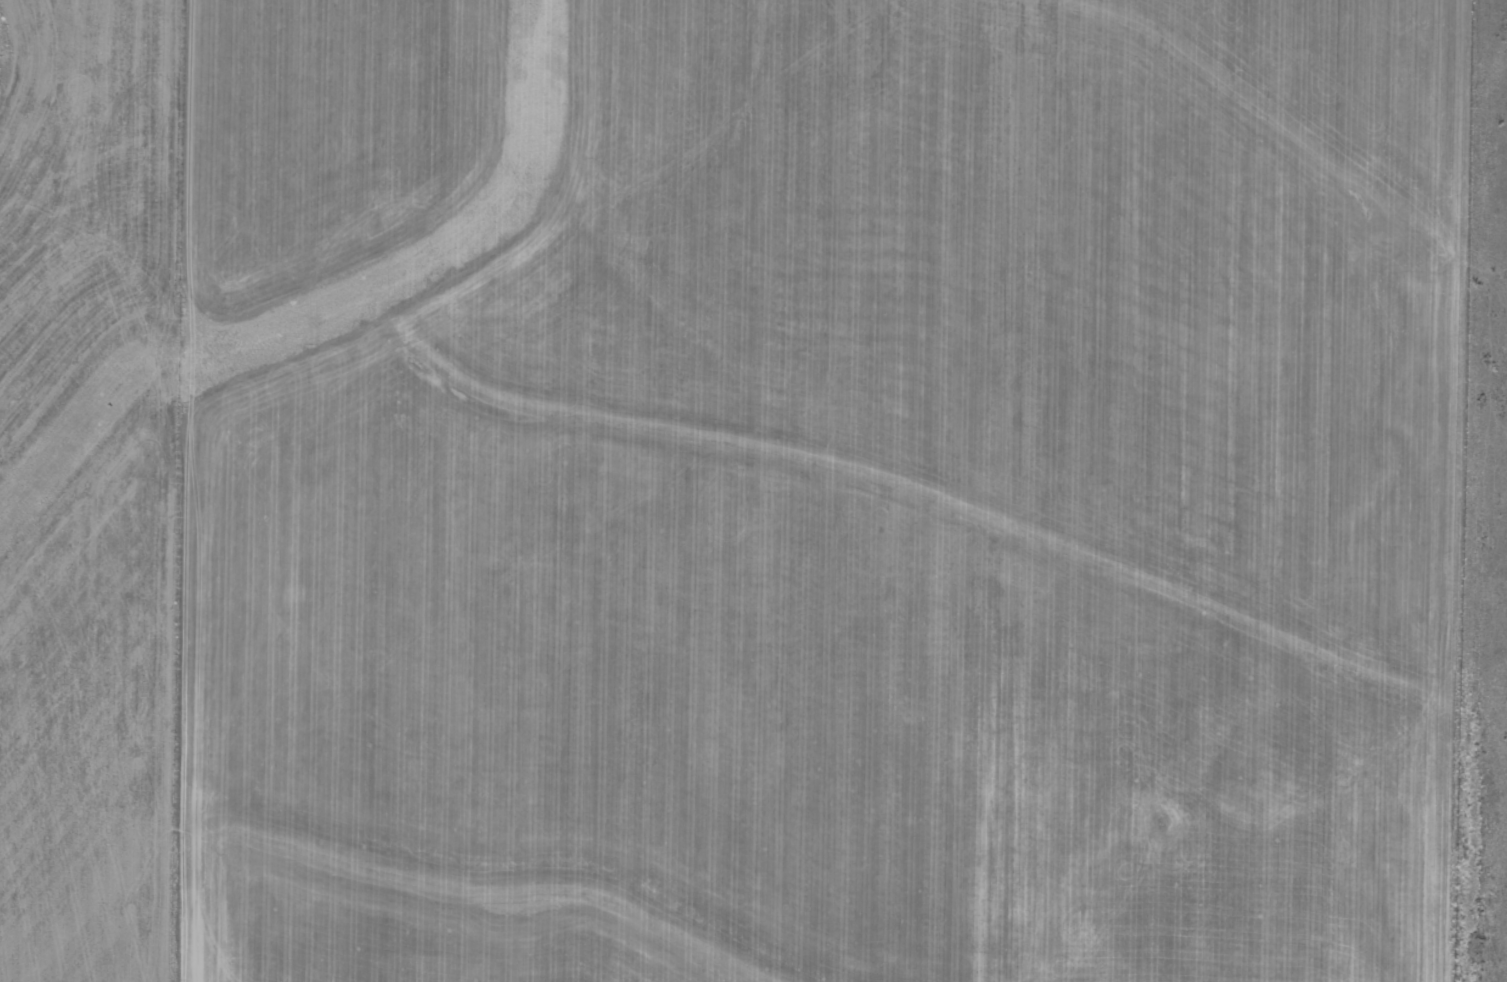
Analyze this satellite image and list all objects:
road: (1470, 491)

